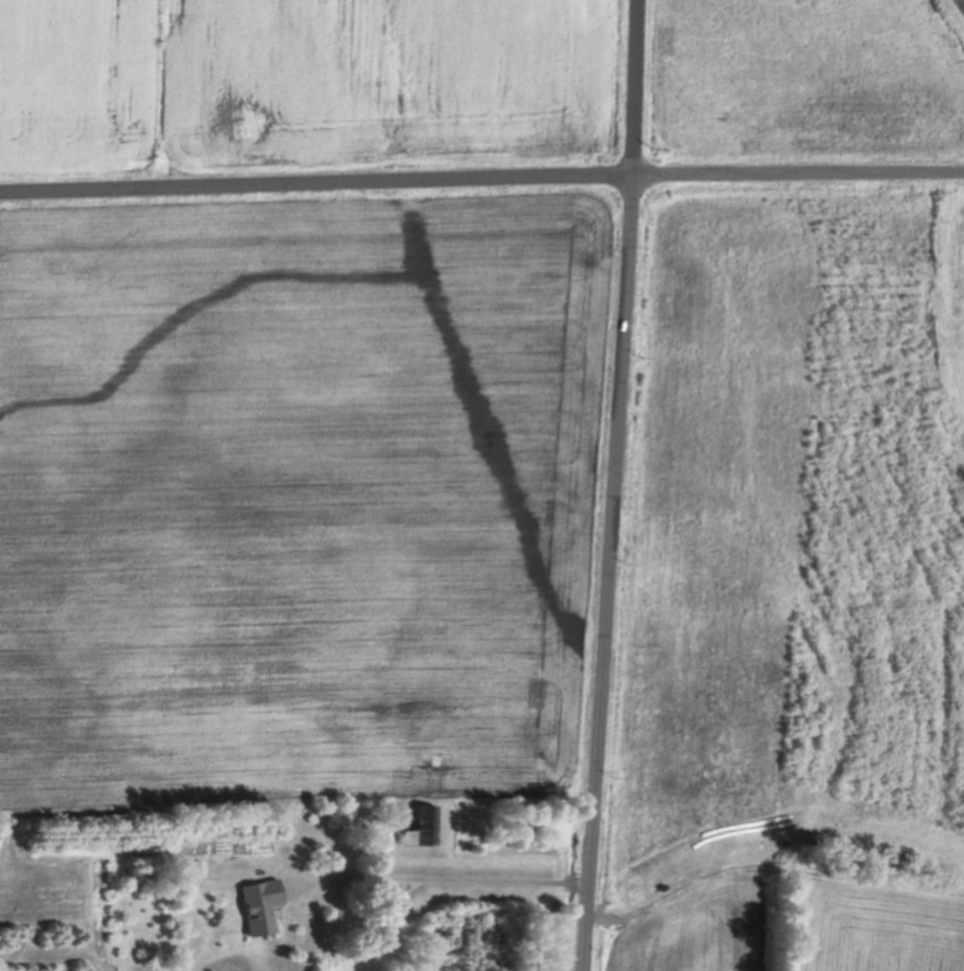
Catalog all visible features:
road: (481, 175)
road: (612, 485)
building: (424, 822)
road: (444, 877)
building: (256, 903)

